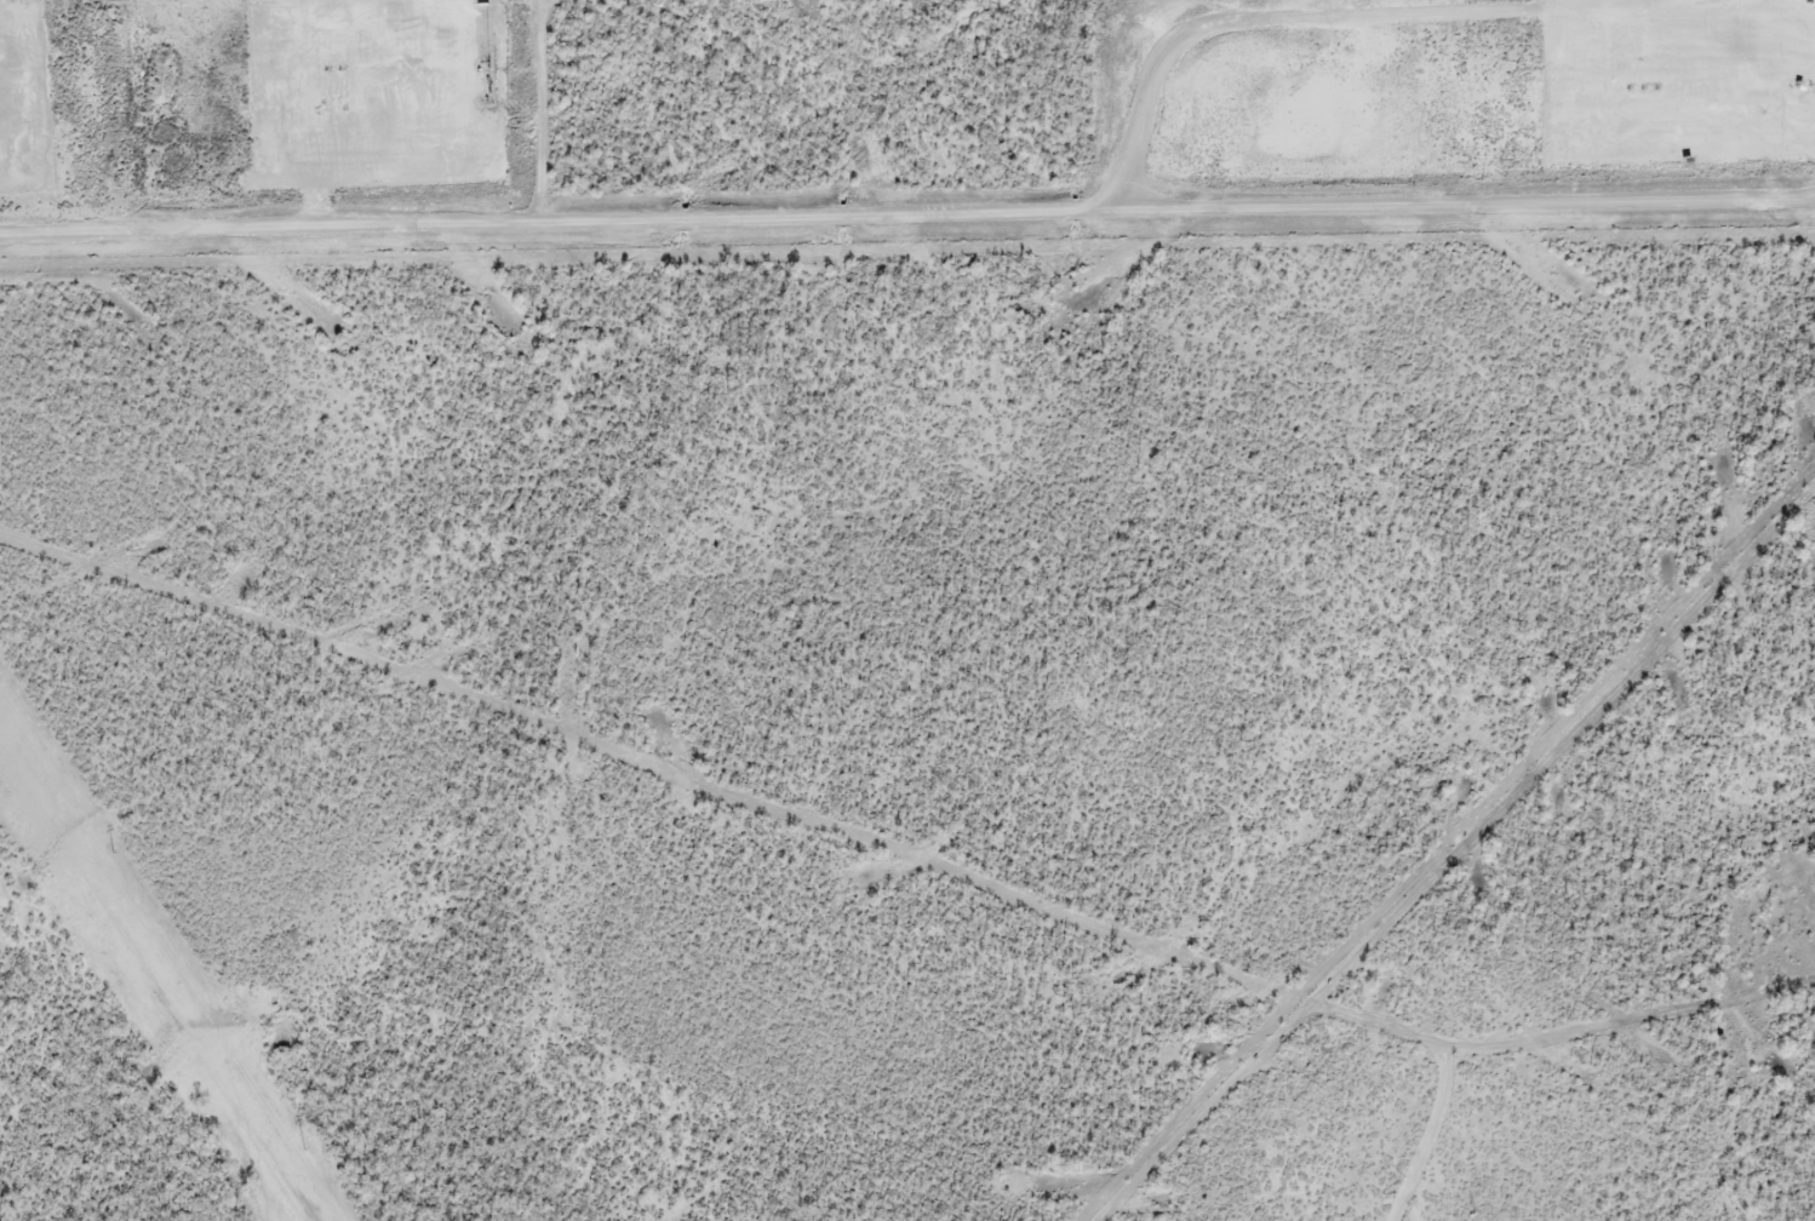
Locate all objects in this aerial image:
power tower: (110, 850)
power tower: (302, 1146)

